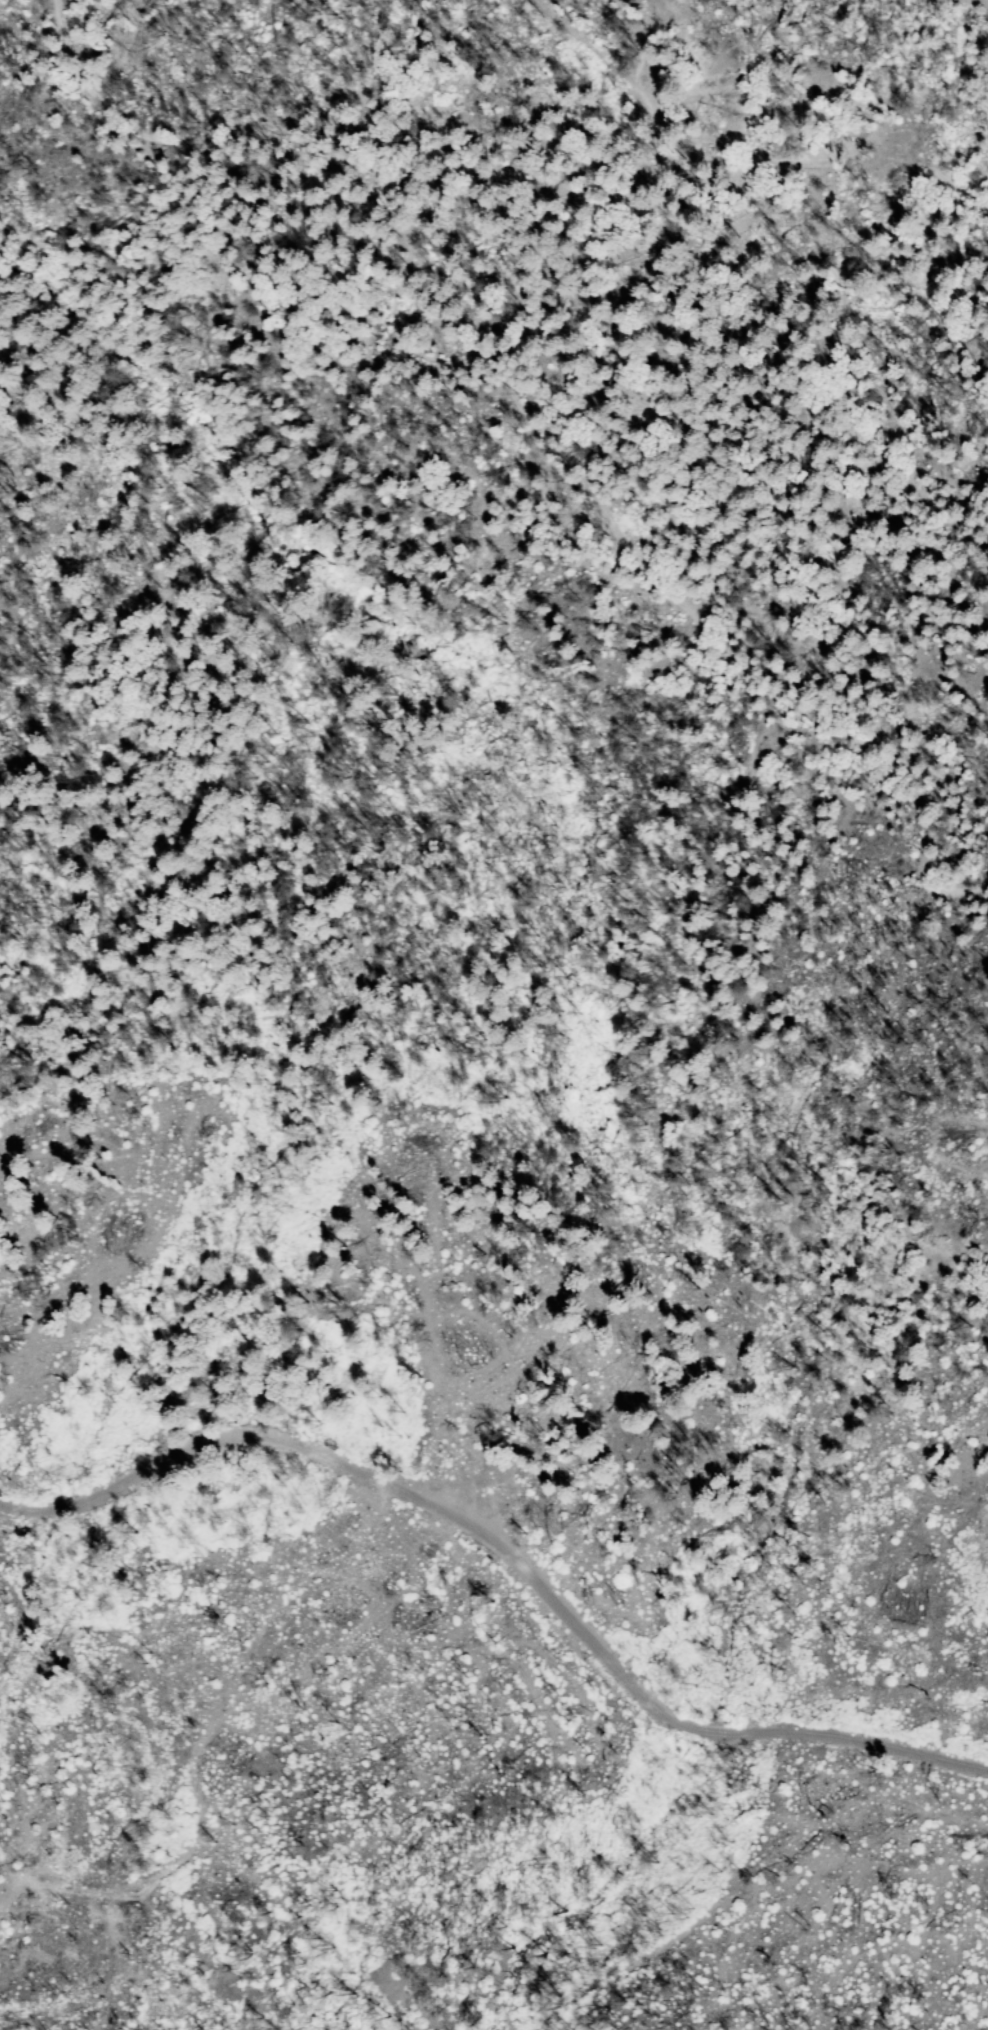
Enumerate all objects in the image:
road: (826, 1)
road: (168, 40)
road: (363, 113)
road: (489, 452)
road: (508, 1550)

